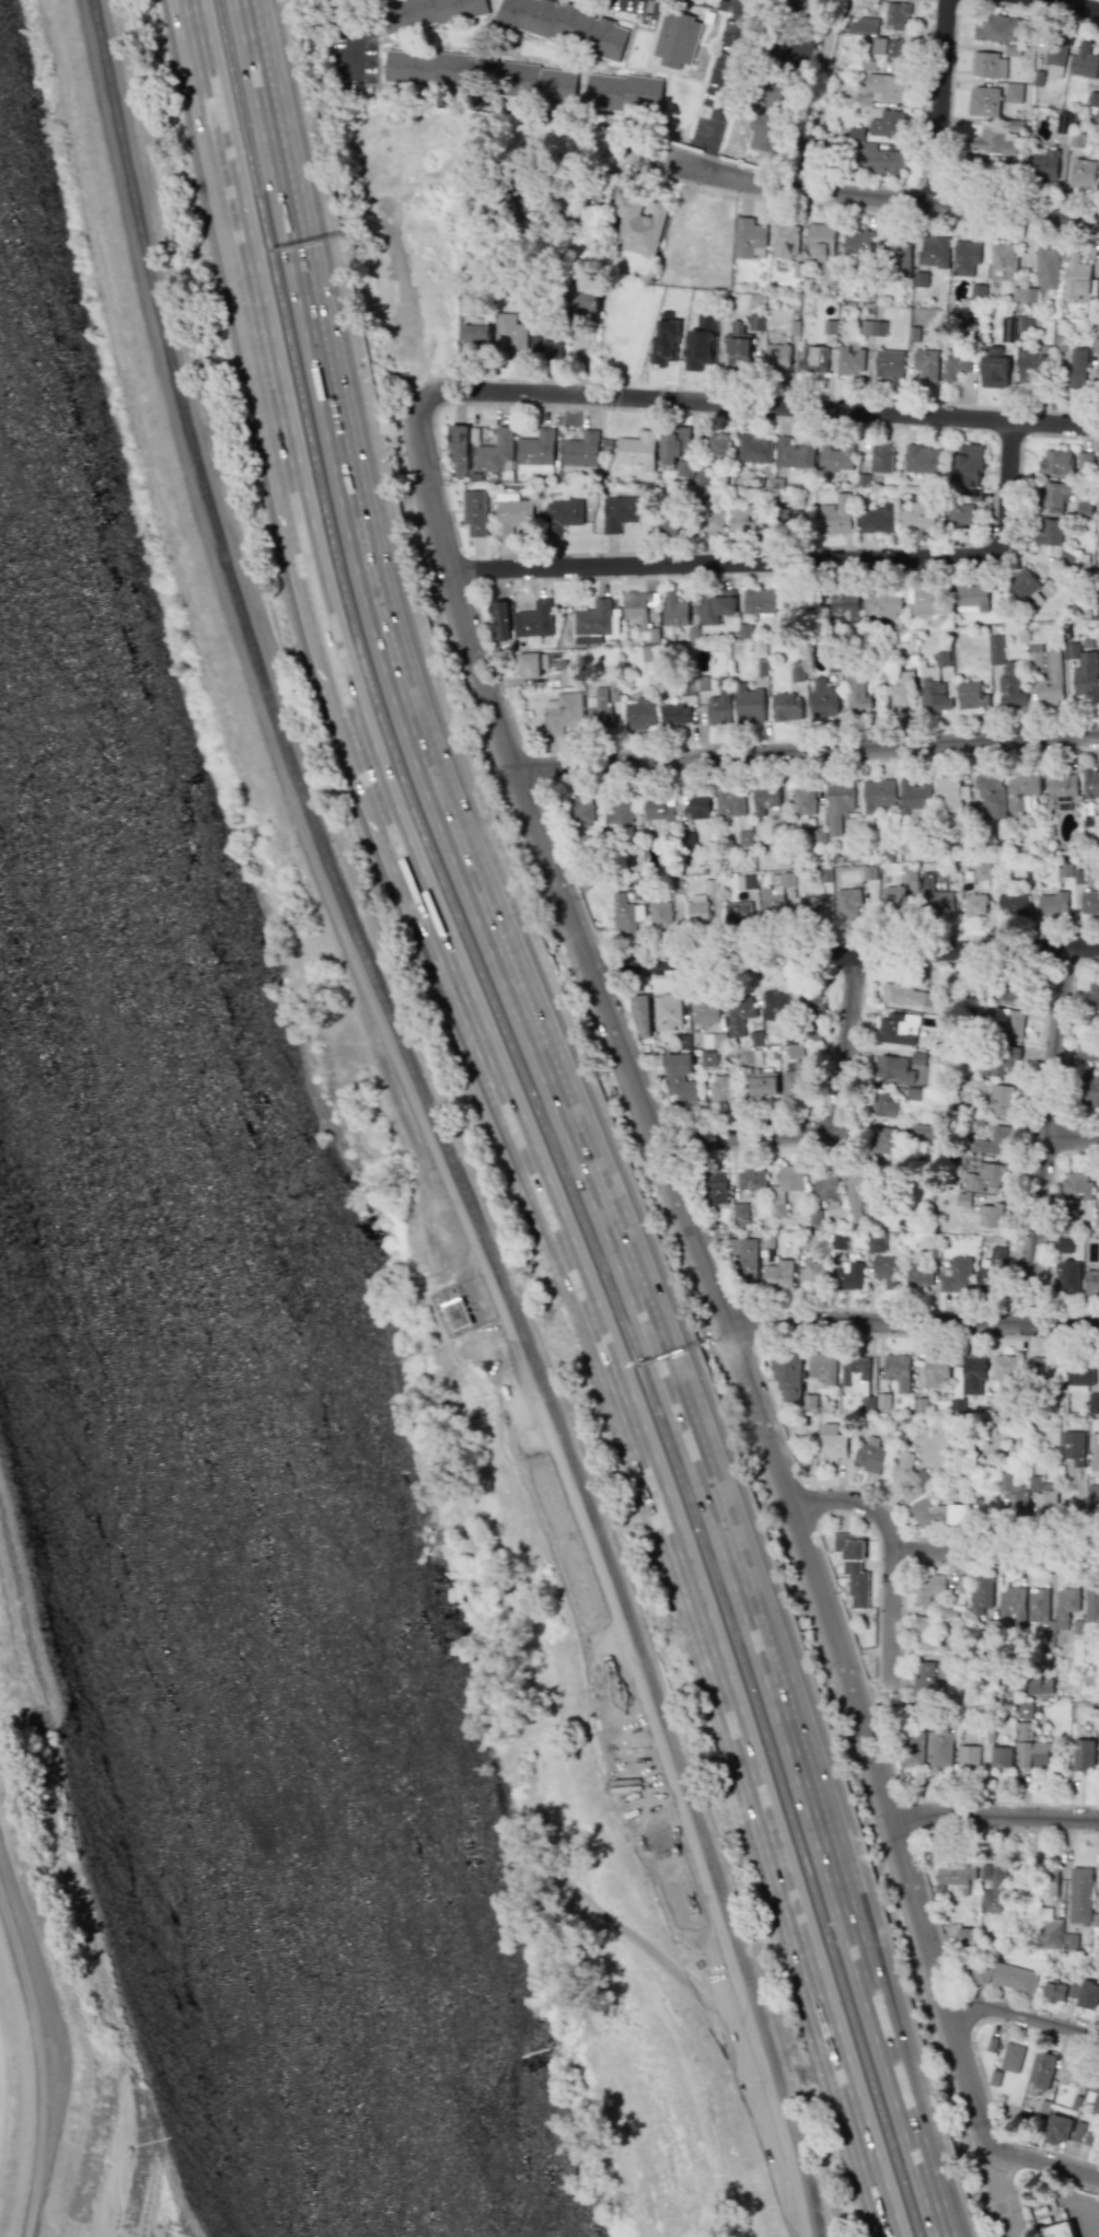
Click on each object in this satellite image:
road: (718, 4)
road: (1069, 5)
building: (428, 12)
building: (896, 16)
building: (564, 25)
building: (998, 27)
road: (348, 36)
building: (675, 39)
building: (888, 47)
building: (1054, 56)
building: (1084, 60)
building: (988, 65)
building: (435, 68)
road: (726, 74)
building: (536, 82)
building: (881, 89)
building: (622, 92)
building: (1013, 92)
building: (983, 101)
road: (942, 103)
building: (887, 124)
building: (764, 132)
building: (990, 141)
building: (874, 154)
road: (703, 161)
building: (1043, 166)
building: (1081, 173)
road: (877, 200)
building: (637, 224)
building: (747, 236)
building: (784, 240)
building: (819, 240)
building: (857, 241)
building: (934, 251)
building: (896, 253)
building: (964, 257)
building: (1002, 260)
building: (1046, 267)
building: (1075, 276)
building: (918, 279)
building: (976, 291)
building: (1028, 294)
building: (583, 302)
building: (1025, 324)
building: (872, 327)
building: (1006, 329)
building: (912, 334)
building: (510, 335)
building: (475, 338)
building: (664, 340)
building: (546, 341)
building: (740, 343)
building: (1095, 345)
building: (698, 348)
building: (776, 356)
building: (813, 359)
building: (848, 360)
building: (888, 363)
building: (926, 363)
building: (956, 366)
building: (993, 369)
building: (1073, 370)
building: (1097, 378)
road: (762, 409)
road: (276, 439)
building: (718, 448)
building: (458, 449)
building: (754, 449)
building: (535, 452)
building: (579, 452)
building: (636, 452)
building: (793, 453)
building: (835, 457)
building: (880, 457)
building: (922, 459)
building: (1084, 461)
building: (1055, 462)
building: (1097, 463)
building: (969, 465)
building: (683, 468)
road: (1010, 487)
building: (1098, 500)
building: (1083, 509)
building: (964, 510)
building: (473, 512)
building: (618, 512)
building: (510, 513)
building: (560, 514)
building: (833, 517)
building: (876, 518)
building: (916, 518)
building: (743, 520)
building: (788, 522)
building: (704, 523)
building: (662, 526)
building: (1048, 532)
road: (724, 563)
building: (1025, 587)
building: (971, 596)
building: (759, 601)
building: (882, 601)
building: (926, 601)
building: (715, 605)
building: (843, 605)
building: (673, 610)
building: (638, 613)
building: (498, 615)
building: (533, 619)
building: (595, 622)
building: (994, 649)
building: (1034, 654)
building: (940, 659)
building: (529, 665)
building: (1084, 672)
building: (796, 673)
building: (1050, 681)
building: (1009, 687)
building: (932, 691)
building: (898, 694)
building: (970, 696)
building: (856, 697)
building: (822, 699)
building: (718, 703)
building: (748, 704)
building: (785, 707)
building: (598, 709)
building: (562, 712)
building: (639, 714)
building: (673, 715)
road: (803, 752)
building: (1090, 783)
building: (1061, 786)
building: (949, 789)
building: (990, 792)
building: (1023, 792)
building: (876, 793)
building: (914, 798)
building: (765, 799)
building: (802, 801)
building: (728, 802)
building: (697, 804)
building: (837, 804)
building: (656, 808)
building: (581, 809)
building: (620, 811)
building: (744, 838)
road: (556, 839)
building: (1064, 869)
building: (868, 872)
building: (787, 879)
building: (745, 881)
building: (709, 886)
building: (893, 894)
building: (936, 899)
building: (771, 901)
building: (846, 902)
building: (1089, 902)
building: (975, 903)
building: (1053, 903)
building: (811, 905)
building: (1013, 905)
building: (698, 908)
building: (625, 913)
building: (737, 913)
building: (660, 915)
road: (844, 957)
building: (1011, 990)
building: (1090, 993)
building: (903, 994)
building: (810, 1002)
building: (774, 1006)
building: (703, 1009)
building: (667, 1011)
building: (738, 1013)
building: (640, 1016)
building: (1007, 1023)
building: (896, 1028)
road: (849, 1043)
road: (1065, 1048)
building: (1086, 1053)
road: (546, 1054)
building: (749, 1056)
building: (917, 1058)
building: (997, 1059)
building: (712, 1060)
building: (891, 1068)
building: (794, 1074)
building: (680, 1078)
building: (762, 1083)
building: (721, 1089)
building: (1087, 1090)
building: (912, 1093)
building: (999, 1100)
building: (881, 1104)
railway: (435, 1123)
road: (421, 1124)
road: (748, 1134)
building: (882, 1136)
road: (1046, 1137)
road: (1058, 1138)
road: (1073, 1140)
building: (993, 1141)
building: (983, 1177)
building: (750, 1179)
building: (715, 1185)
building: (784, 1186)
building: (824, 1186)
building: (1075, 1186)
building: (962, 1197)
building: (855, 1198)
building: (1098, 1207)
building: (739, 1209)
building: (990, 1215)
building: (1096, 1219)
road: (1042, 1240)
building: (837, 1241)
building: (875, 1243)
building: (1063, 1245)
building: (744, 1266)
road: (706, 1268)
building: (883, 1268)
building: (776, 1270)
building: (991, 1271)
building: (814, 1272)
building: (848, 1275)
building: (956, 1275)
building: (915, 1276)
building: (1066, 1276)
building: (1091, 1280)
building: (456, 1313)
road: (911, 1321)
building: (822, 1367)
building: (1003, 1367)
building: (1037, 1367)
building: (896, 1370)
building: (934, 1372)
building: (1077, 1377)
building: (967, 1378)
building: (881, 1400)
building: (1092, 1402)
building: (831, 1442)
building: (1073, 1447)
building: (1094, 1451)
river: (209, 1452)
building: (907, 1476)
building: (1042, 1495)
building: (1015, 1496)
building: (1092, 1497)
road: (854, 1502)
building: (939, 1514)
road: (674, 1542)
road: (995, 1552)
road: (936, 1563)
building: (853, 1567)
building: (927, 1587)
building: (980, 1593)
building: (1091, 1604)
building: (1010, 1607)
building: (1068, 1609)
building: (1039, 1610)
road: (890, 1623)
building: (921, 1631)
building: (922, 1678)
building: (1039, 1685)
road: (993, 1699)
building: (1023, 1711)
building: (910, 1748)
building: (939, 1748)
building: (1030, 1748)
building: (1084, 1753)
building: (999, 1757)
building: (967, 1759)
building: (1098, 1776)
road: (995, 1815)
street lamp: (875, 1817)
building: (955, 1874)
building: (1049, 1880)
building: (993, 1889)
building: (1098, 1893)
building: (1079, 1894)
building: (1048, 1934)
building: (964, 1935)
building: (1068, 1940)
building: (1003, 1975)
building: (1054, 1991)
building: (1088, 1995)
road: (1022, 2015)
building: (1011, 2056)
road: (41, 2068)
building: (1041, 2070)
building: (1072, 2070)
building: (1092, 2095)
building: (1056, 2129)
building: (1077, 2131)
road: (1042, 2161)
road: (924, 2166)
road: (998, 2191)
building: (1055, 2230)

